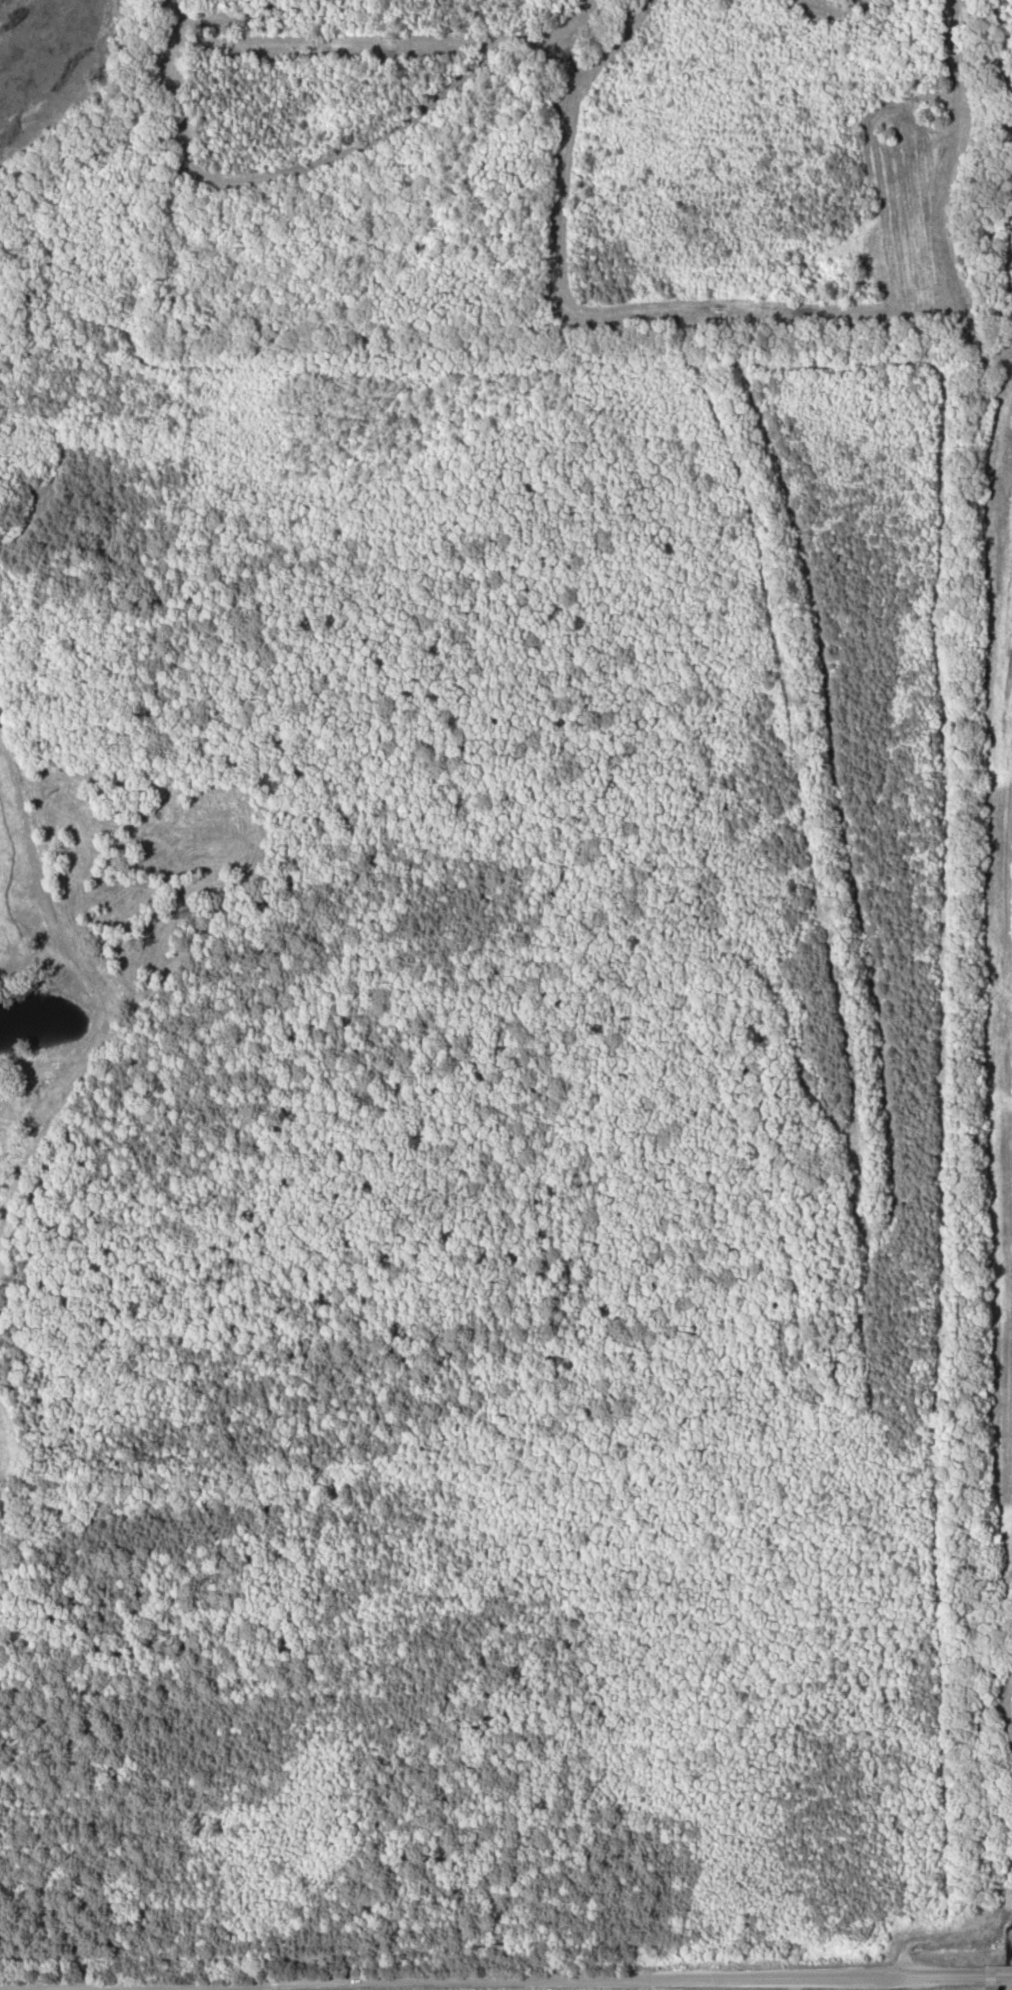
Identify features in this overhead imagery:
road: (1002, 1977)
road: (562, 1986)

